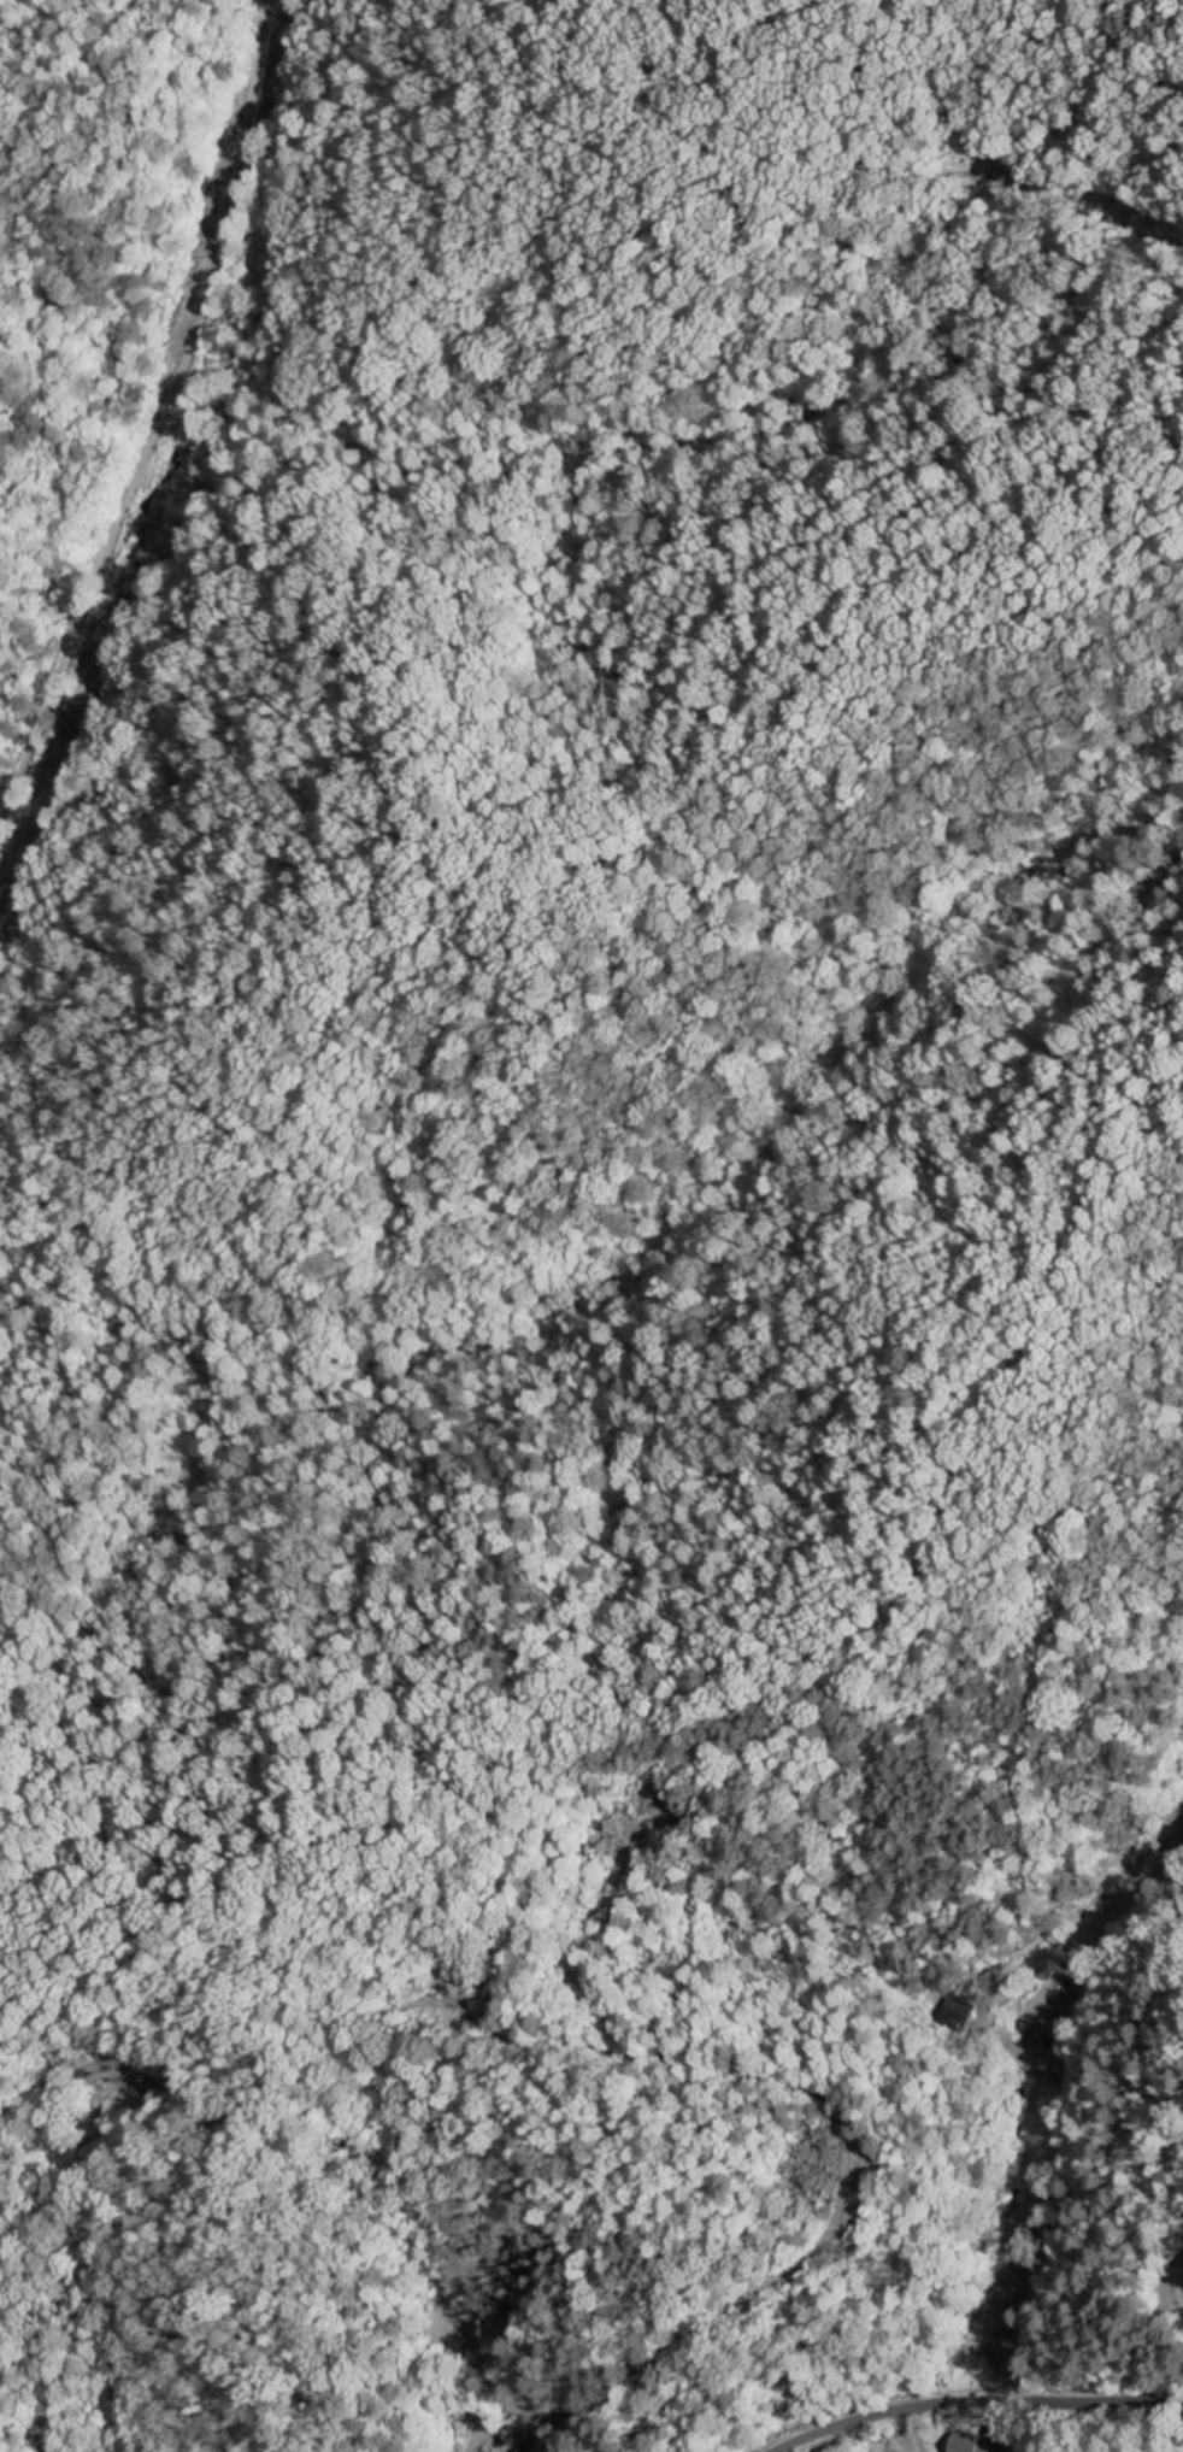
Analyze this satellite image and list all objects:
road: (164, 416)
building: (959, 2015)
park: (1175, 2260)
road: (1172, 2301)
road: (979, 2399)
building: (973, 2444)

